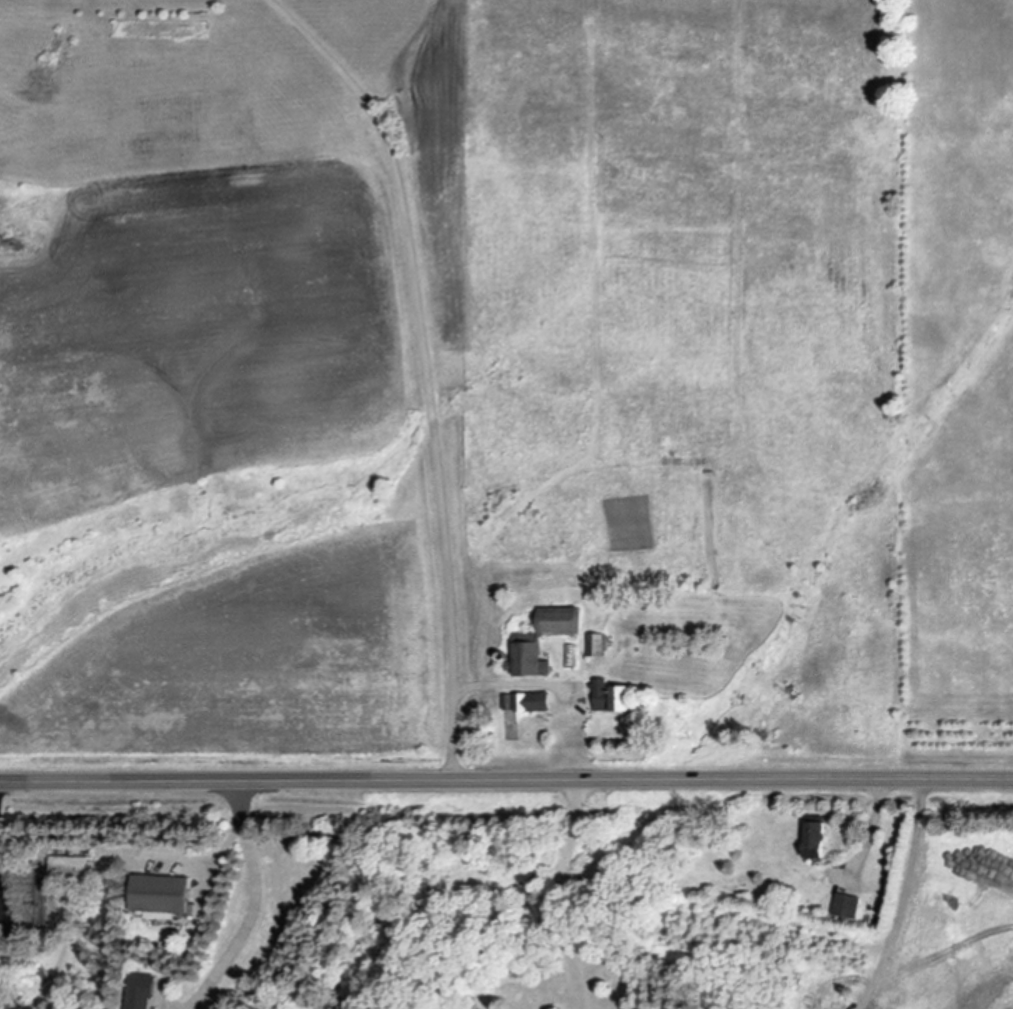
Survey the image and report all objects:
road: (425, 366)
building: (566, 623)
building: (605, 696)
building: (629, 701)
building: (510, 704)
building: (537, 704)
road: (506, 778)
road: (874, 824)
building: (818, 842)
road: (190, 856)
building: (75, 870)
road: (556, 893)
building: (164, 898)
road: (255, 902)
road: (2, 904)
building: (847, 908)
building: (146, 992)

